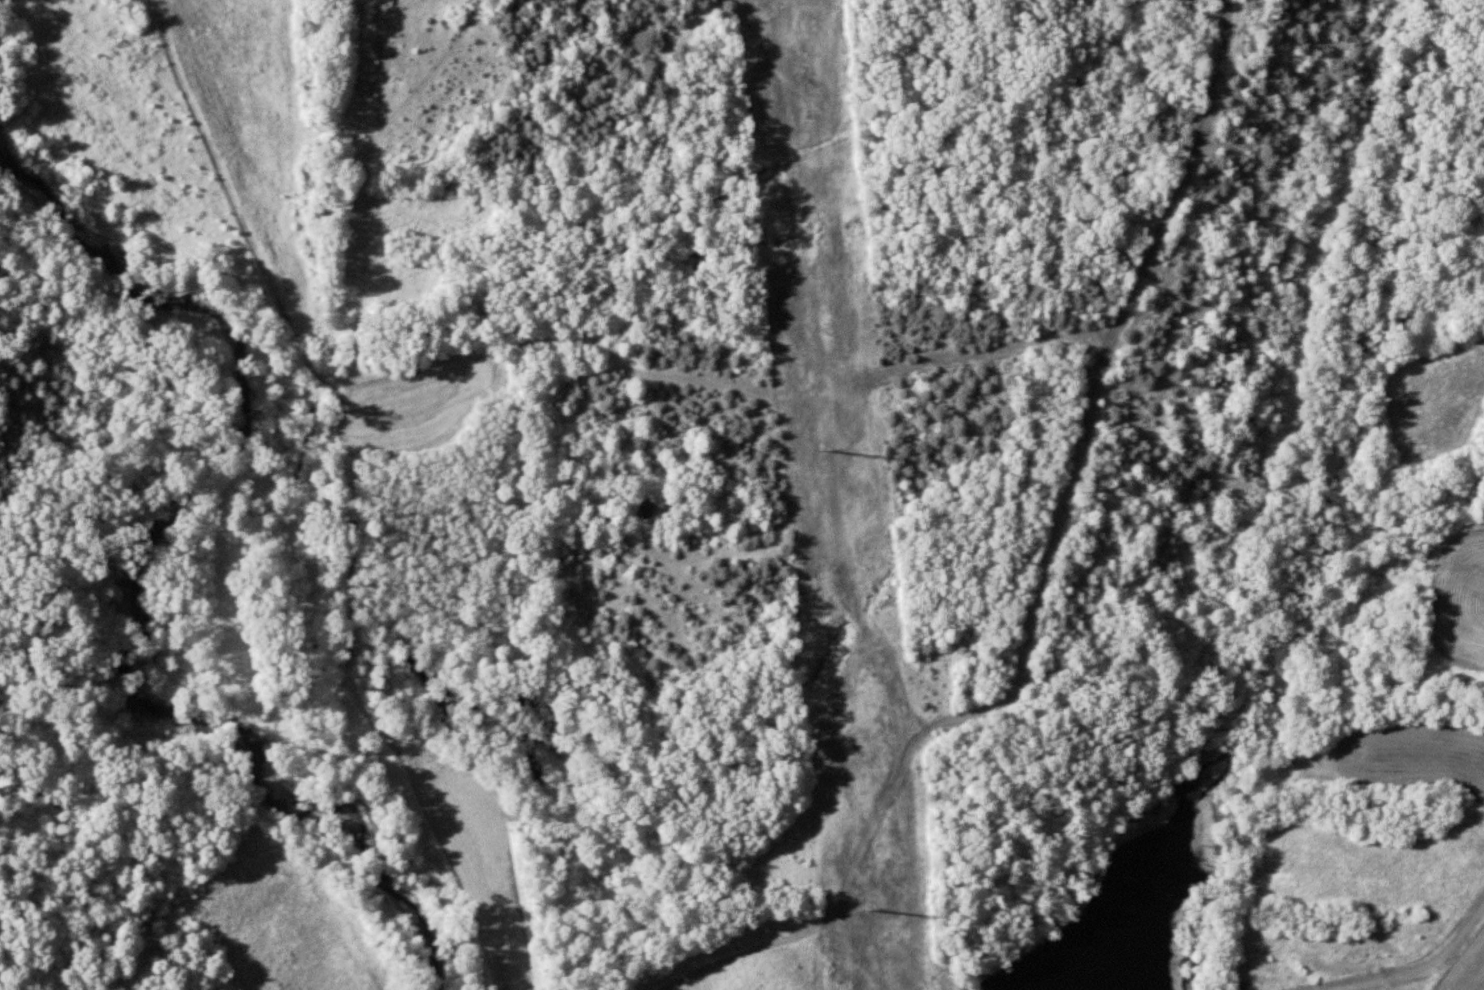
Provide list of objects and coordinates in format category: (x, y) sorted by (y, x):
power tower: (822, 450)
power tower: (868, 908)

